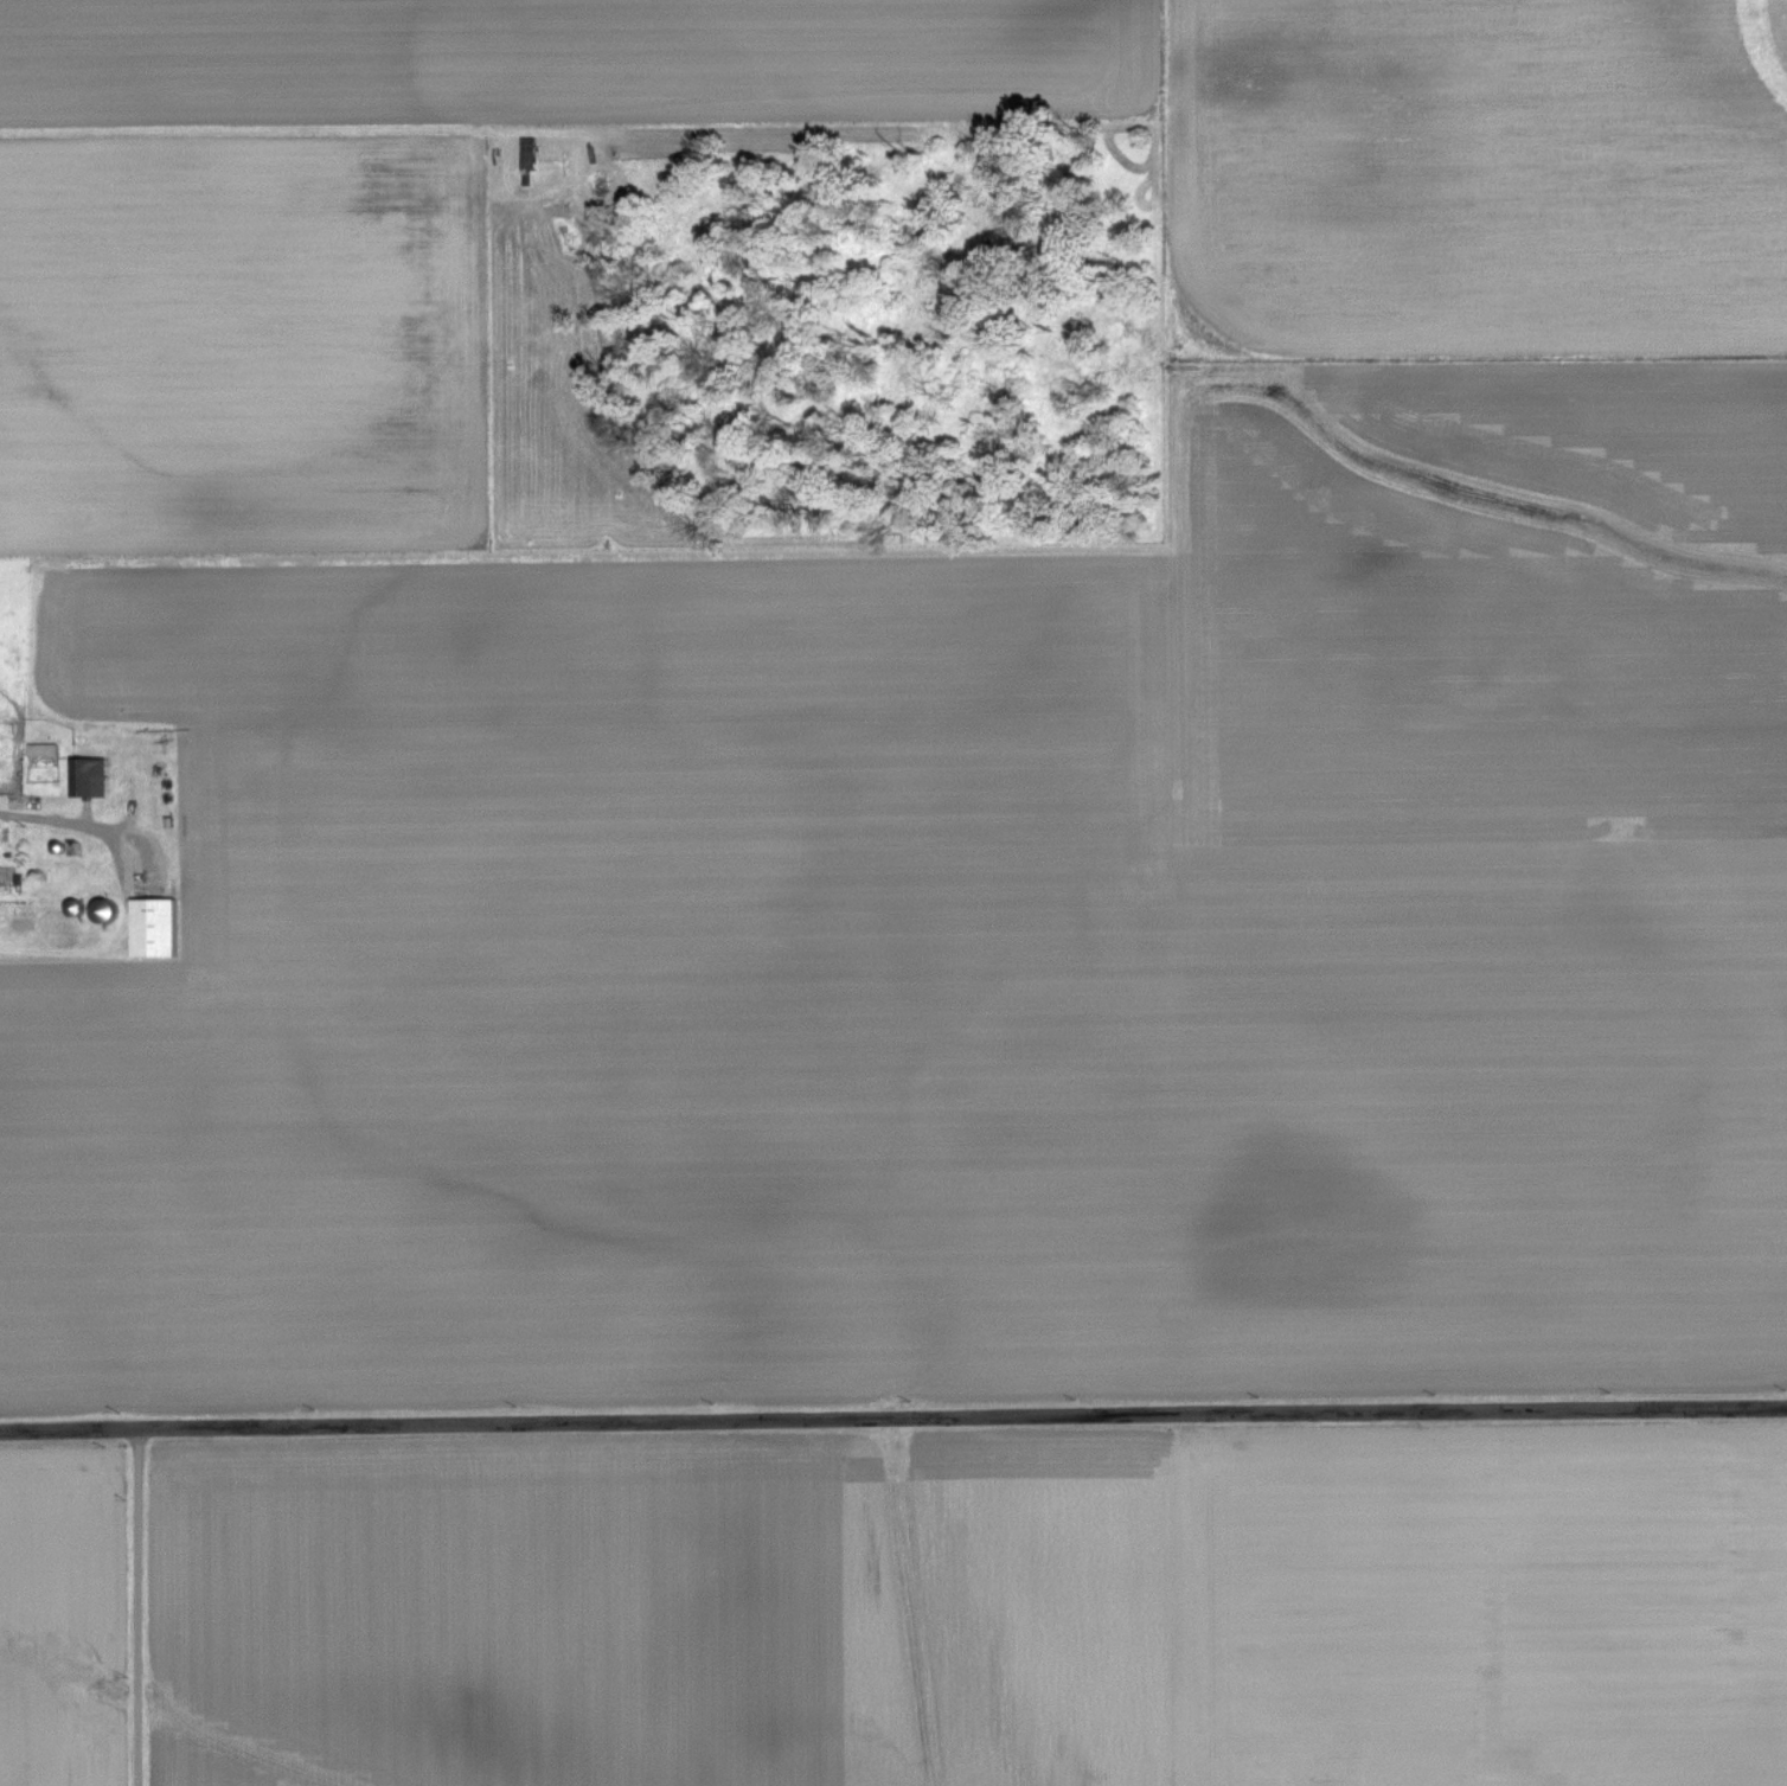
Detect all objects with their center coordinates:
building: (45, 750)
building: (91, 779)
road: (71, 830)
building: (158, 928)
road: (892, 1429)
road: (133, 1614)

